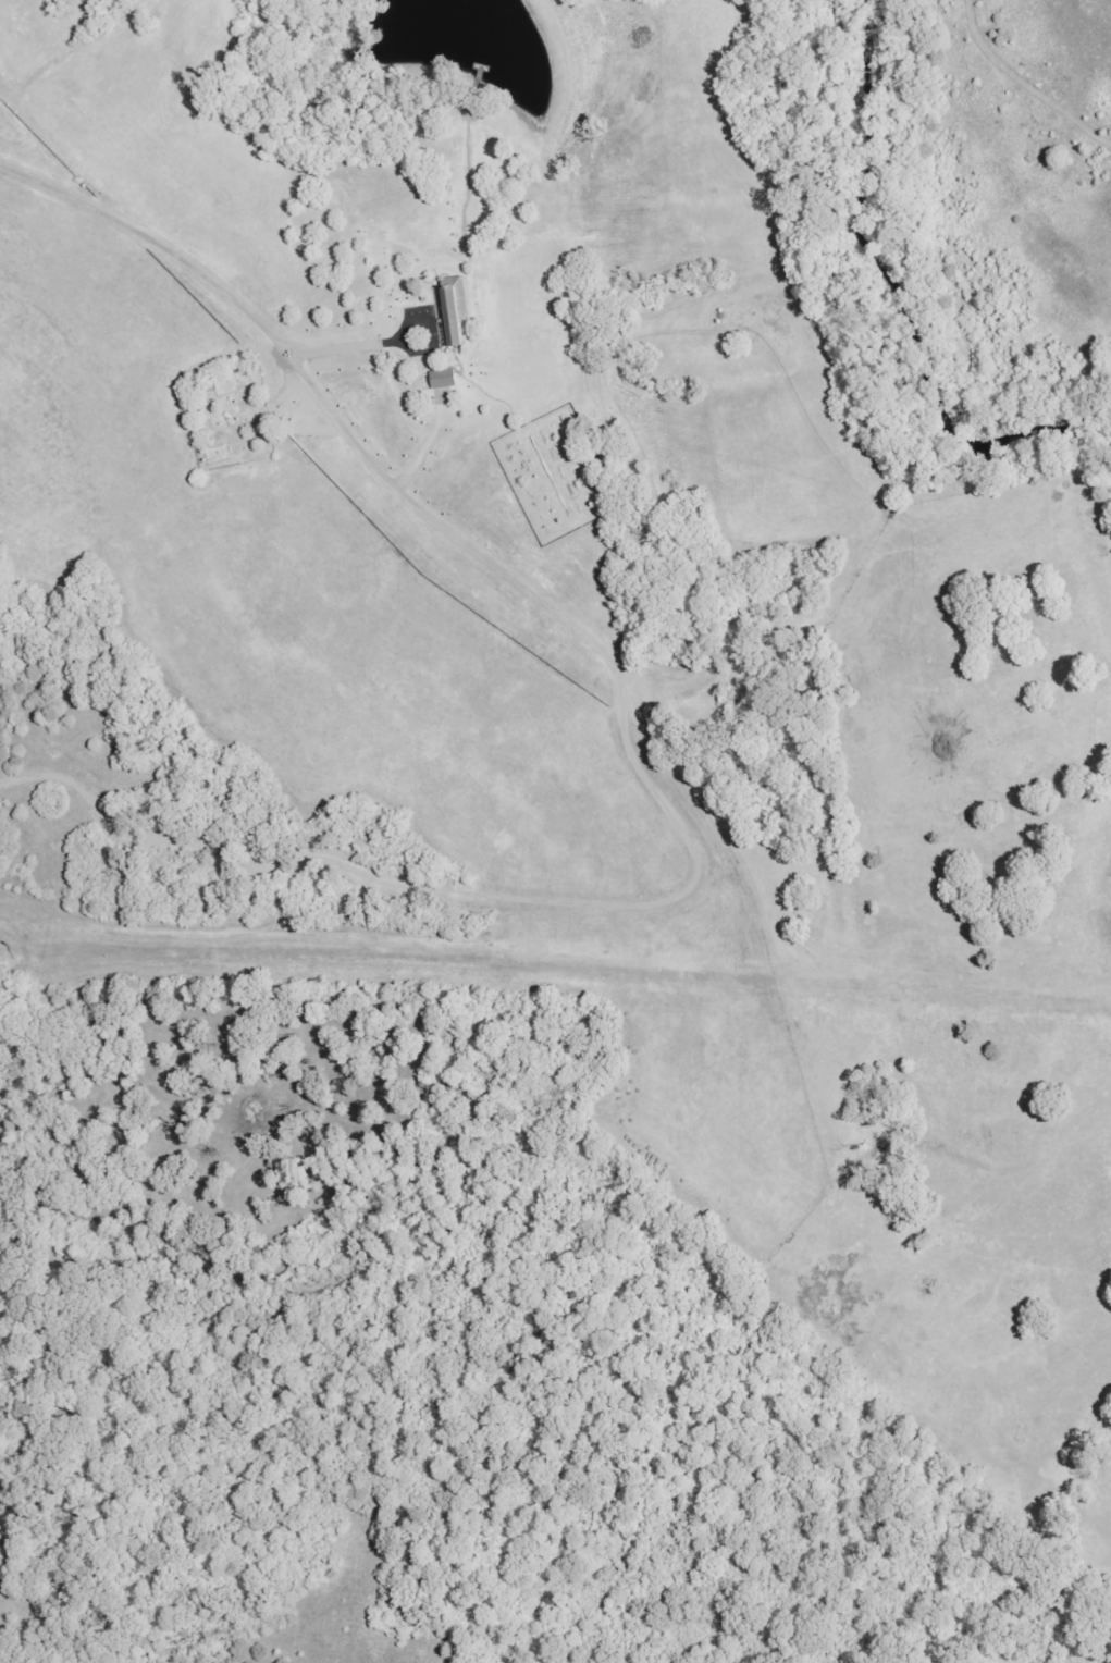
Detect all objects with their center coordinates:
building: (454, 311)
building: (444, 380)
park: (225, 416)

